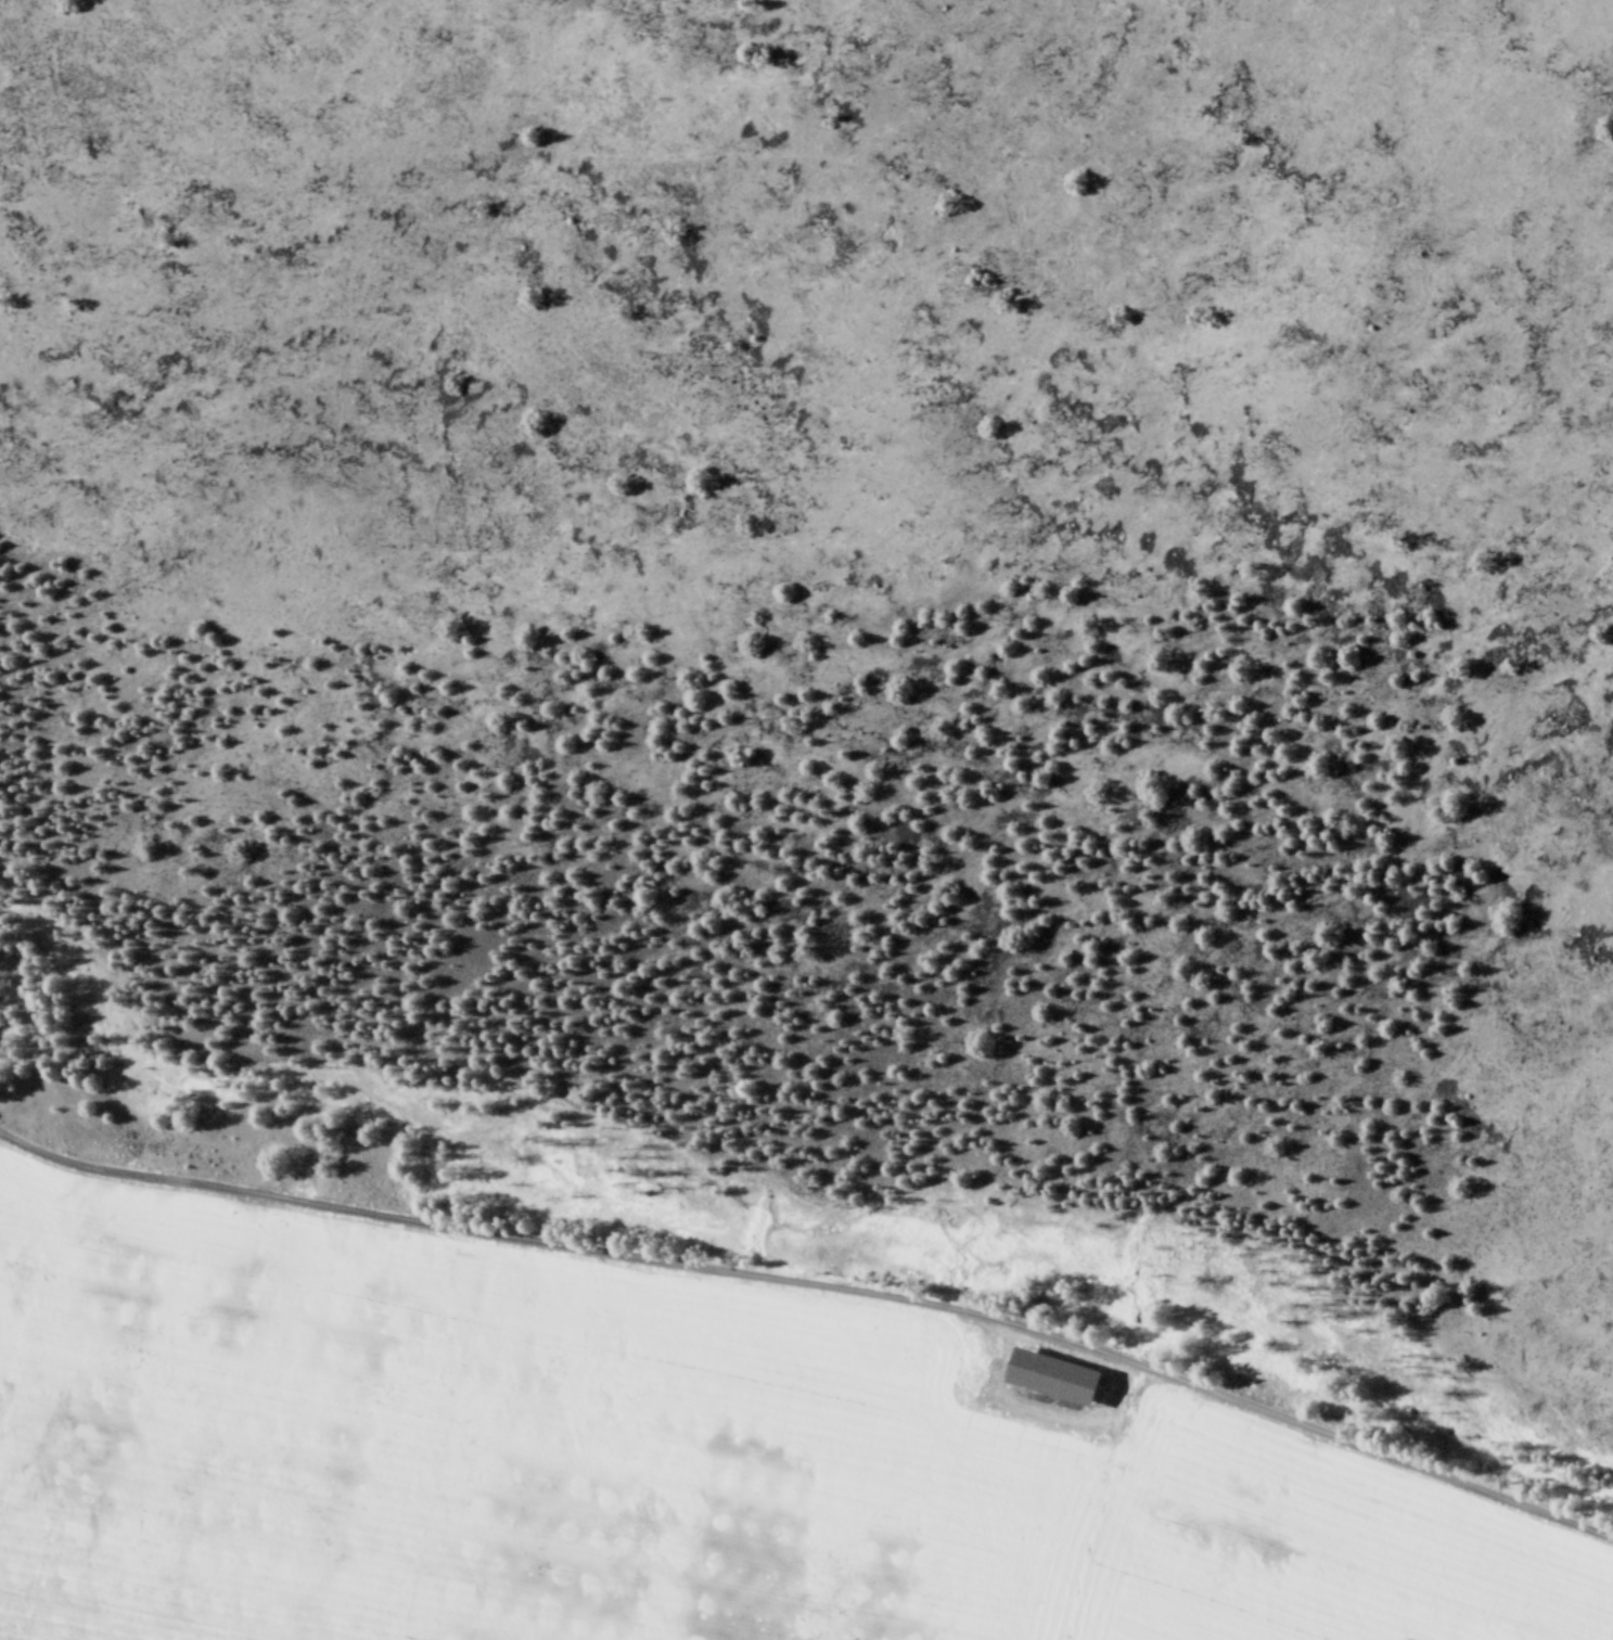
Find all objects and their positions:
road: (817, 1285)
building: (1058, 1379)

